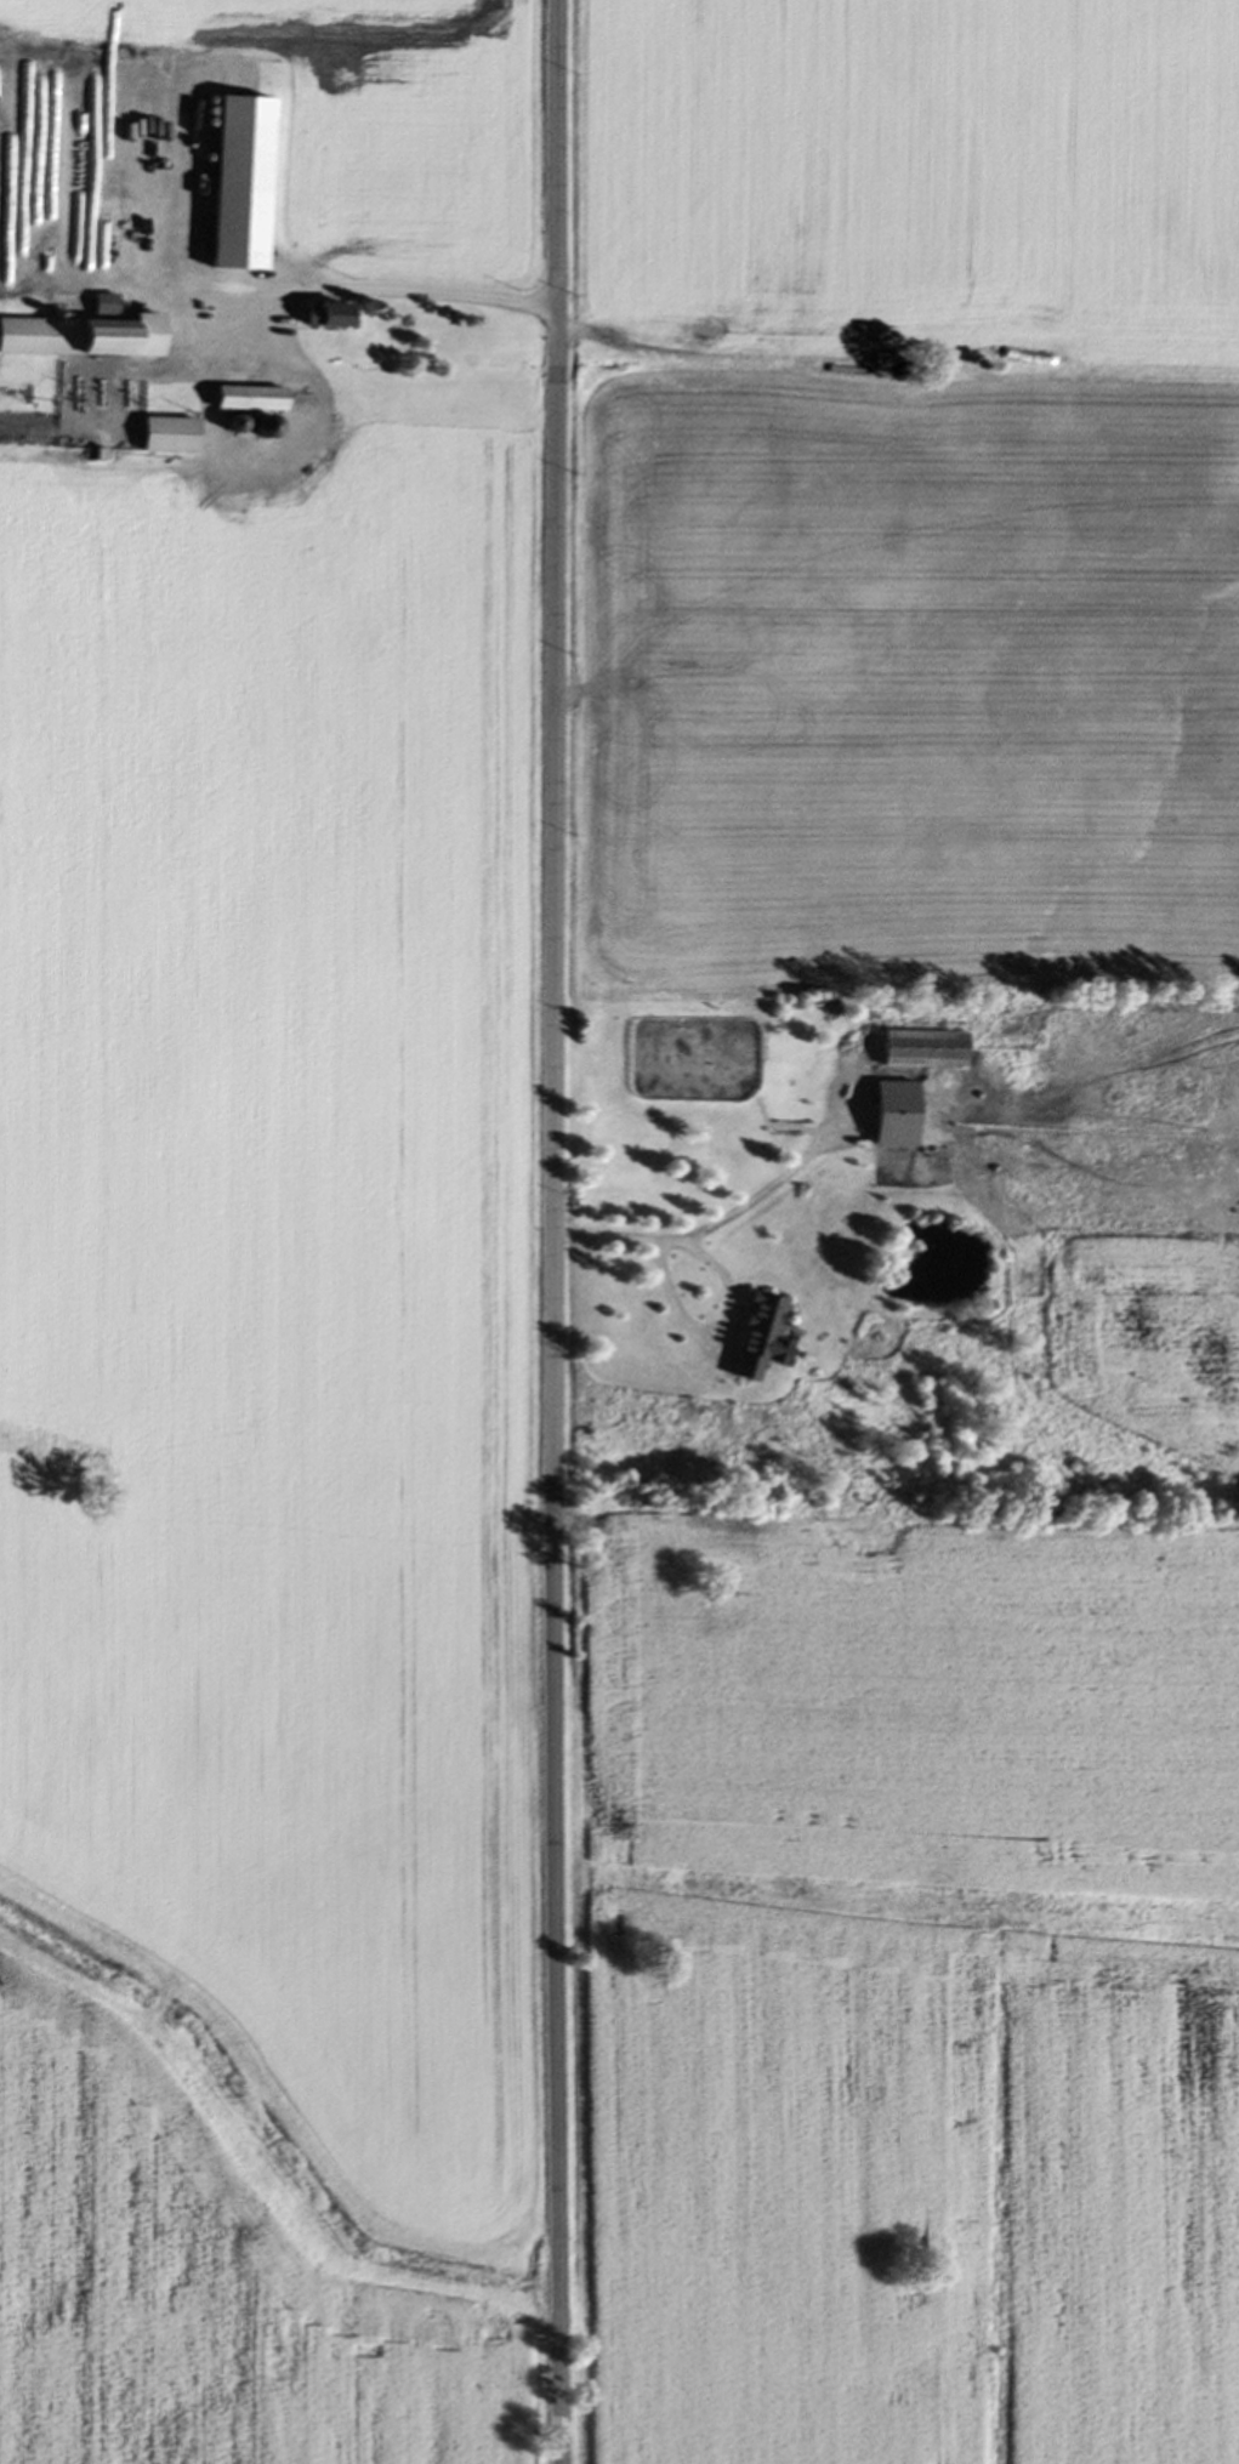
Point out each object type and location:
building: (235, 183)
road: (305, 285)
building: (209, 309)
building: (322, 315)
building: (69, 338)
building: (246, 399)
building: (262, 428)
building: (167, 436)
building: (920, 1051)
building: (891, 1115)
road: (715, 1224)
road: (555, 1231)
road: (721, 1326)
building: (756, 1338)

